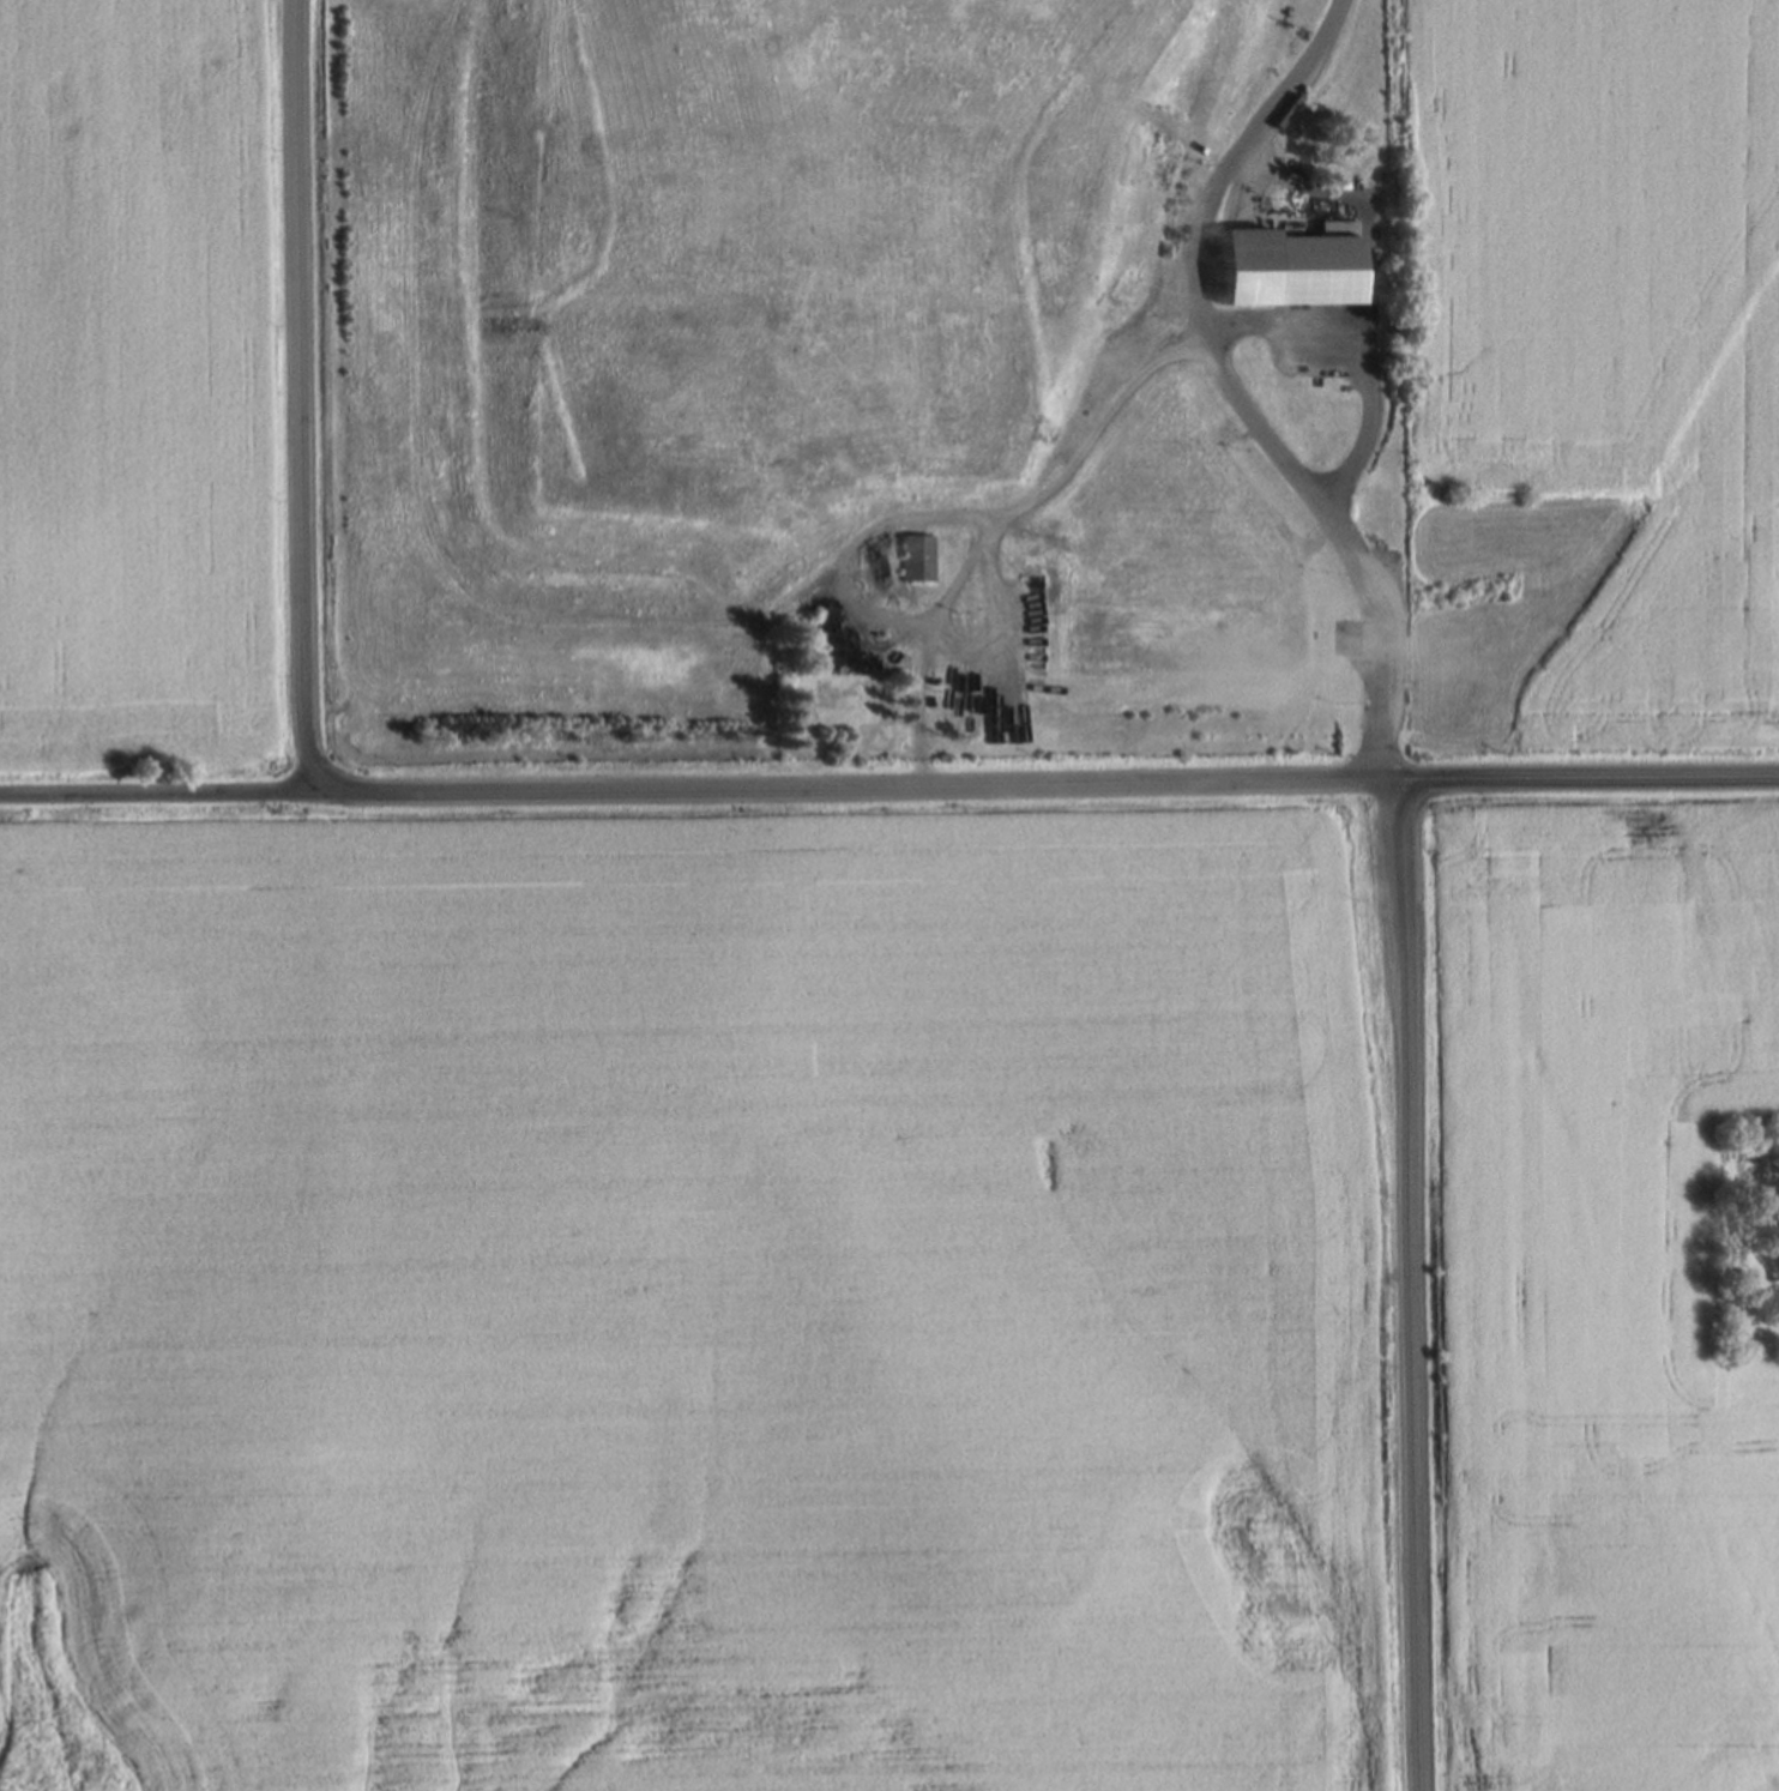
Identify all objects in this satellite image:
road: (1365, 211)
building: (1291, 265)
road: (1359, 360)
landfill: (874, 380)
road: (1236, 385)
building: (917, 554)
building: (1356, 639)
road: (1590, 777)
road: (168, 791)
road: (469, 791)
road: (1416, 1284)

